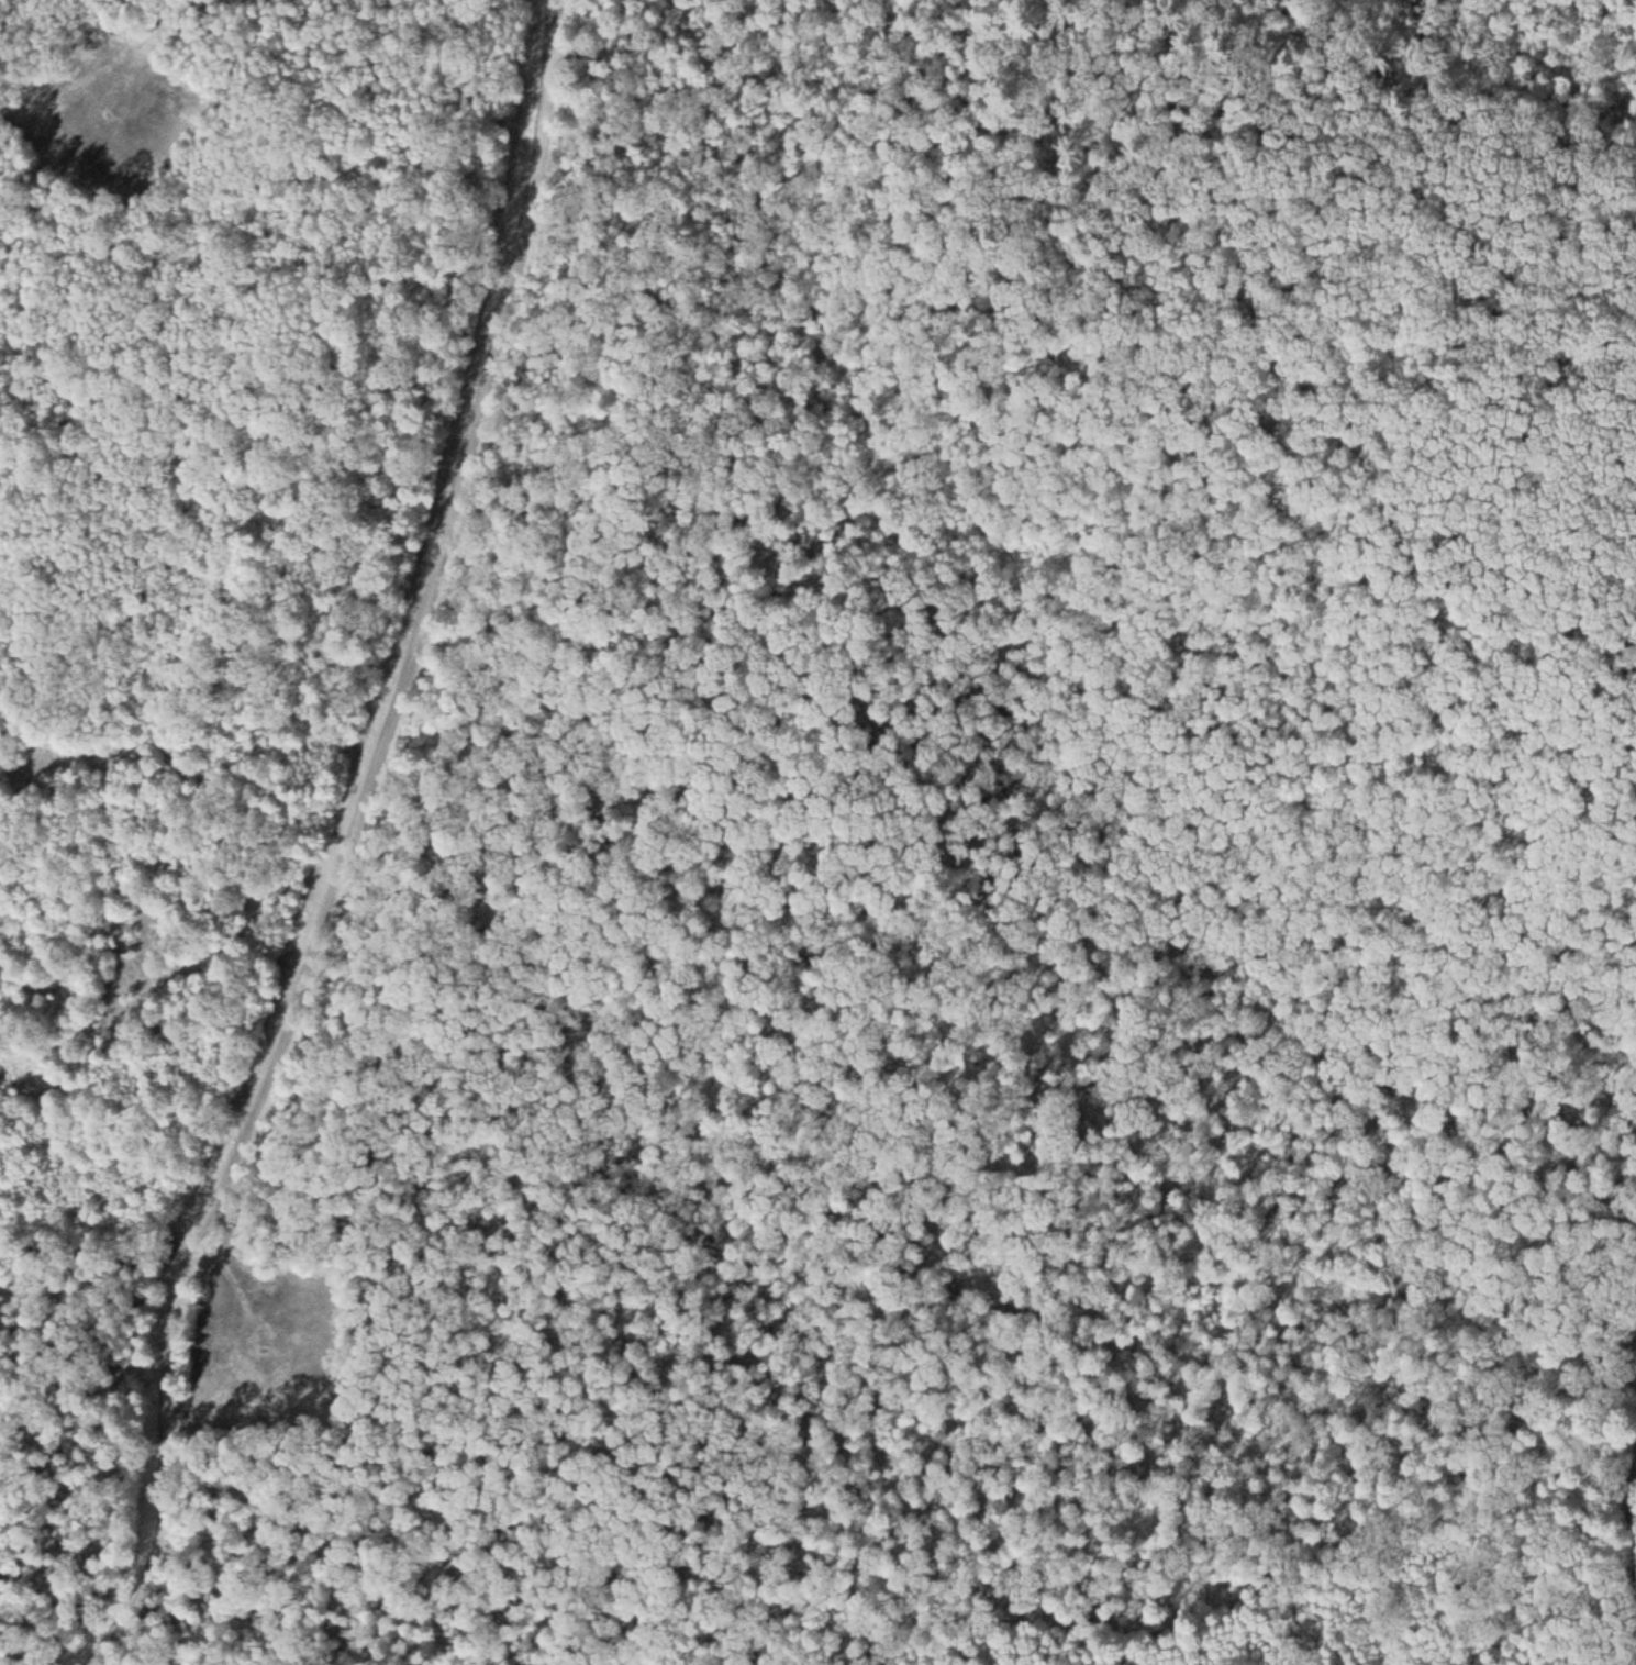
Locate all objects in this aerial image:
road: (342, 845)
road: (1625, 1536)

